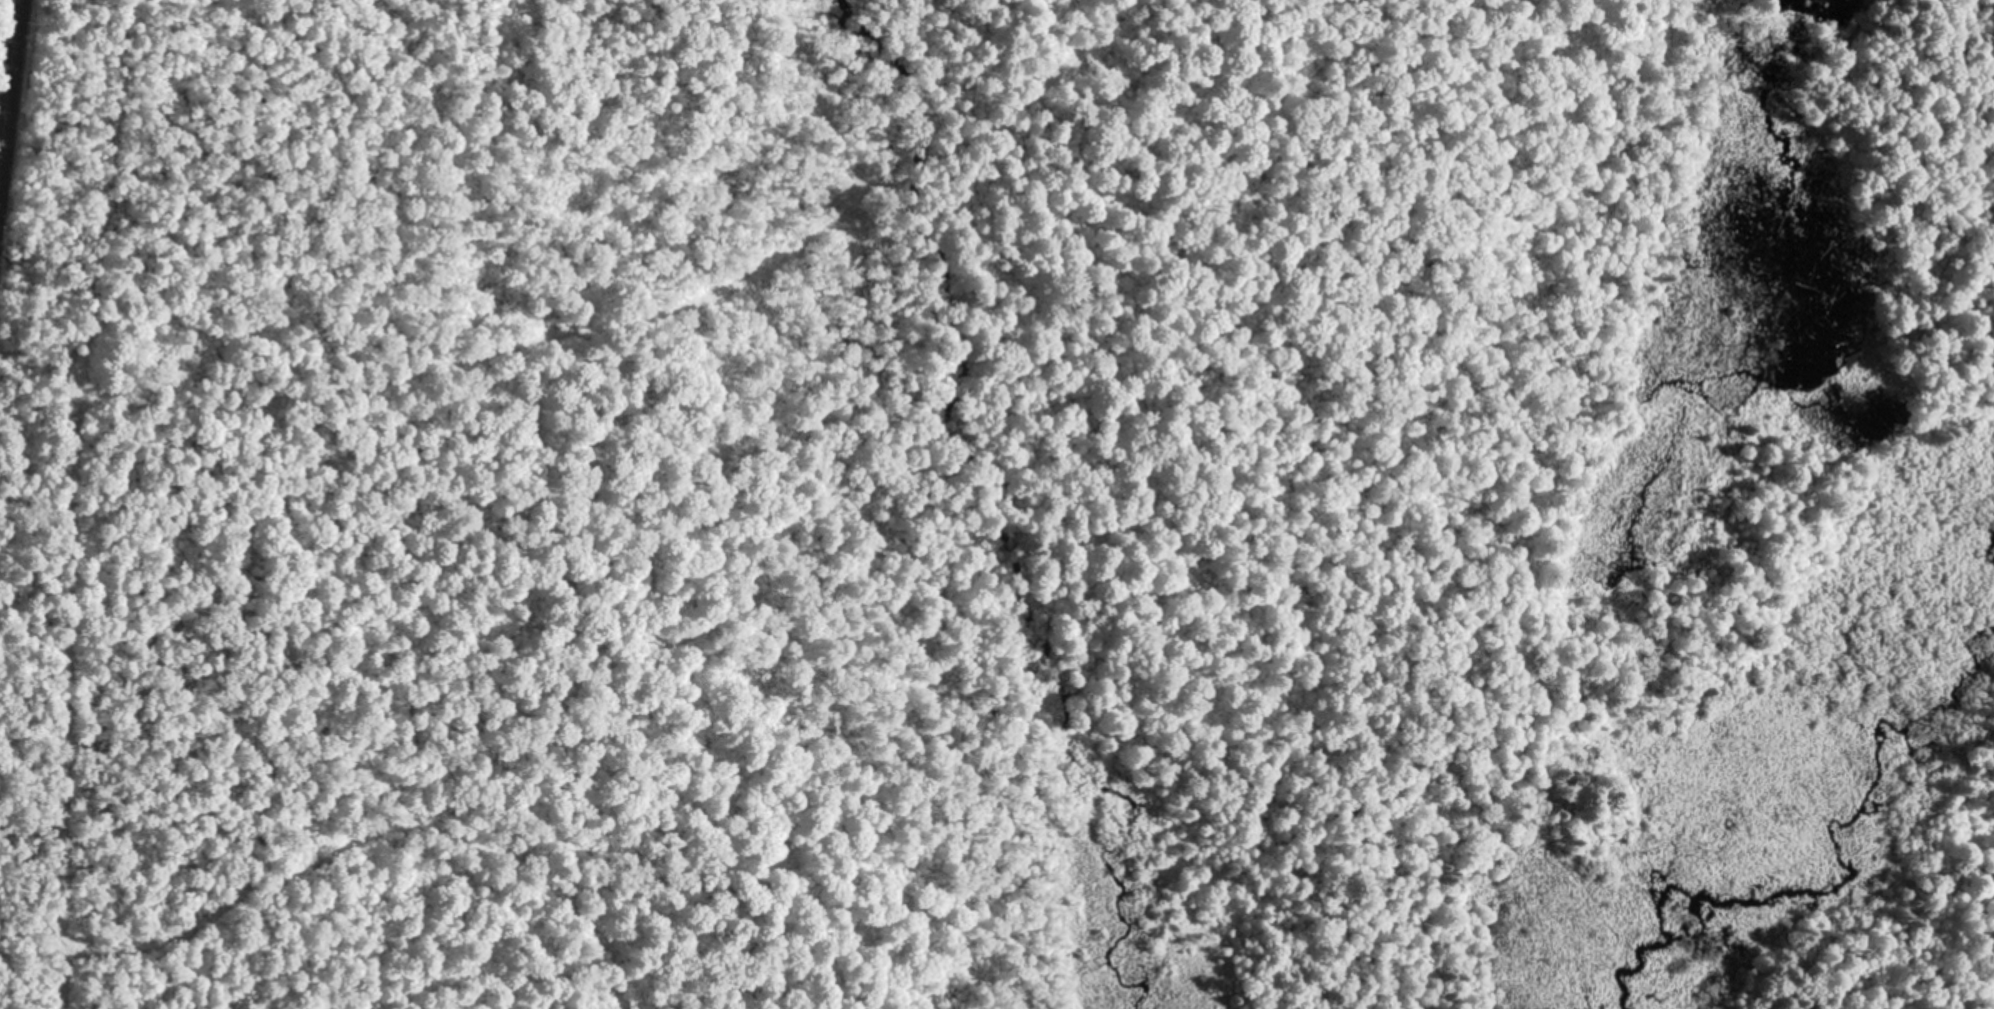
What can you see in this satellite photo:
road: (11, 105)

